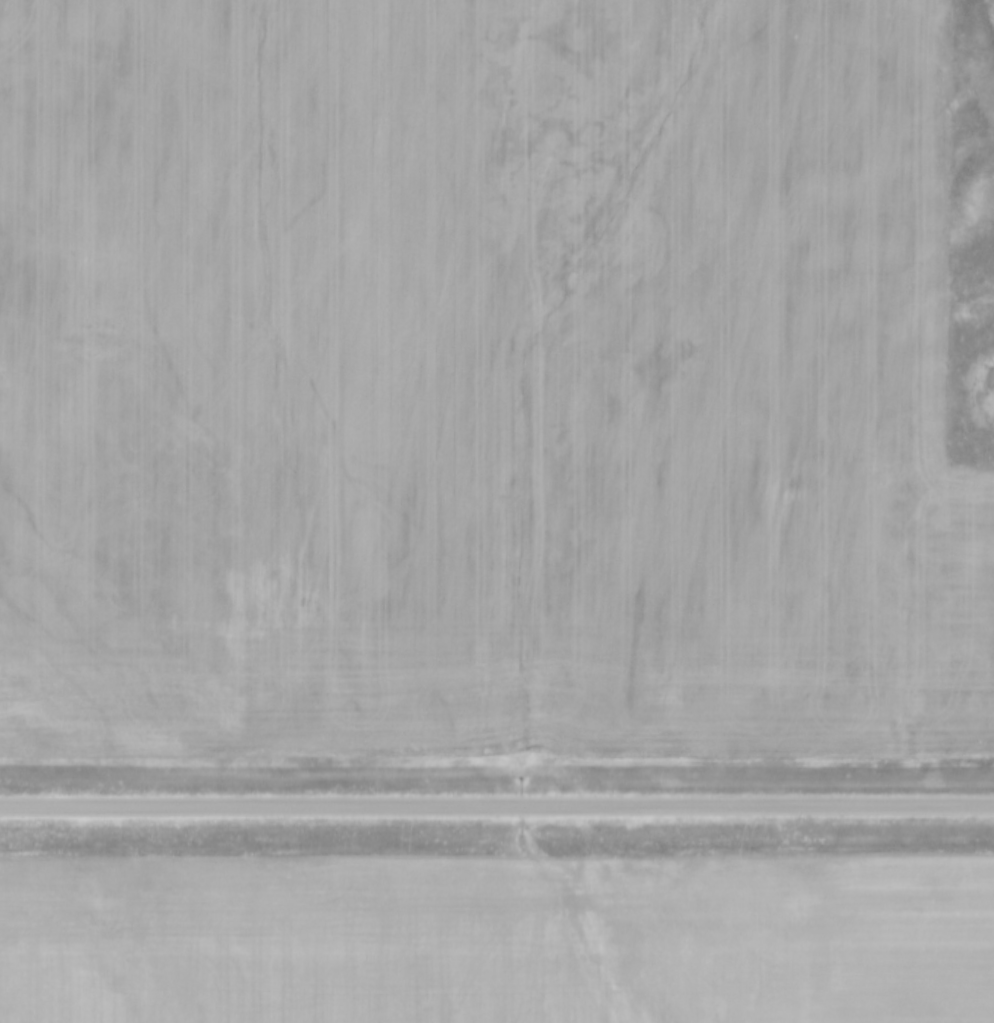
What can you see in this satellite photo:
road: (496, 808)

